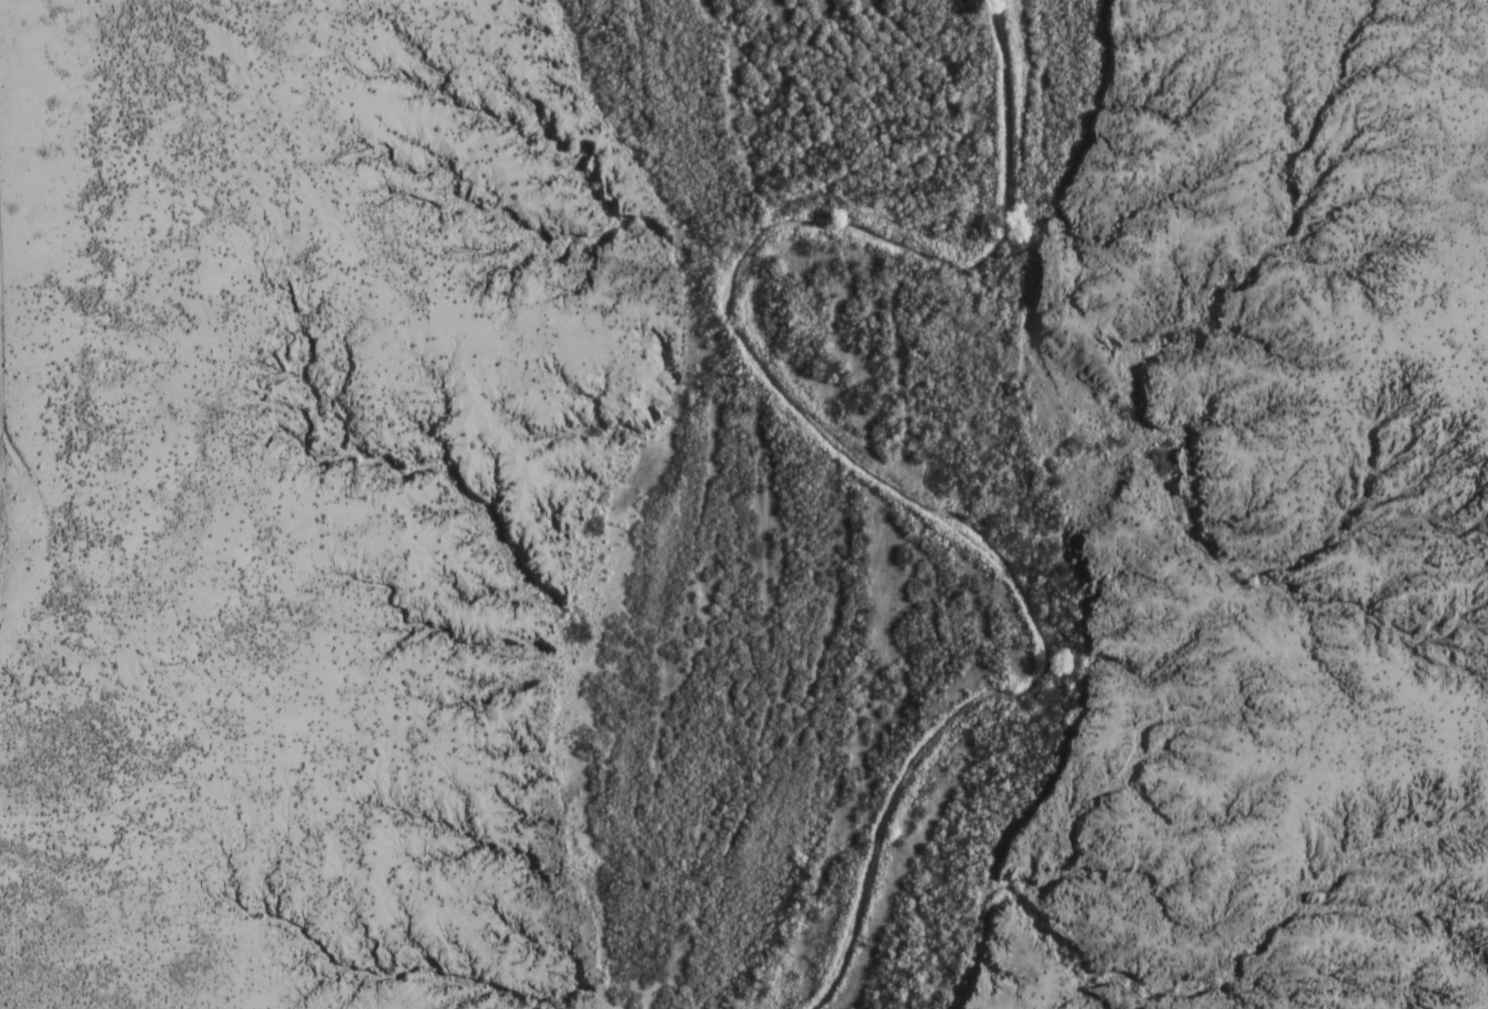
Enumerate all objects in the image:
river: (699, 453)

